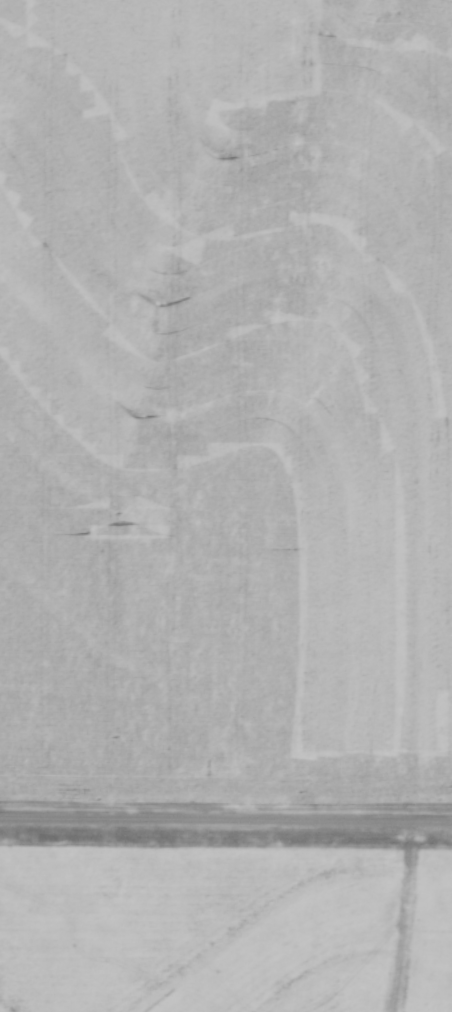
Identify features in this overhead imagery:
road: (226, 824)

